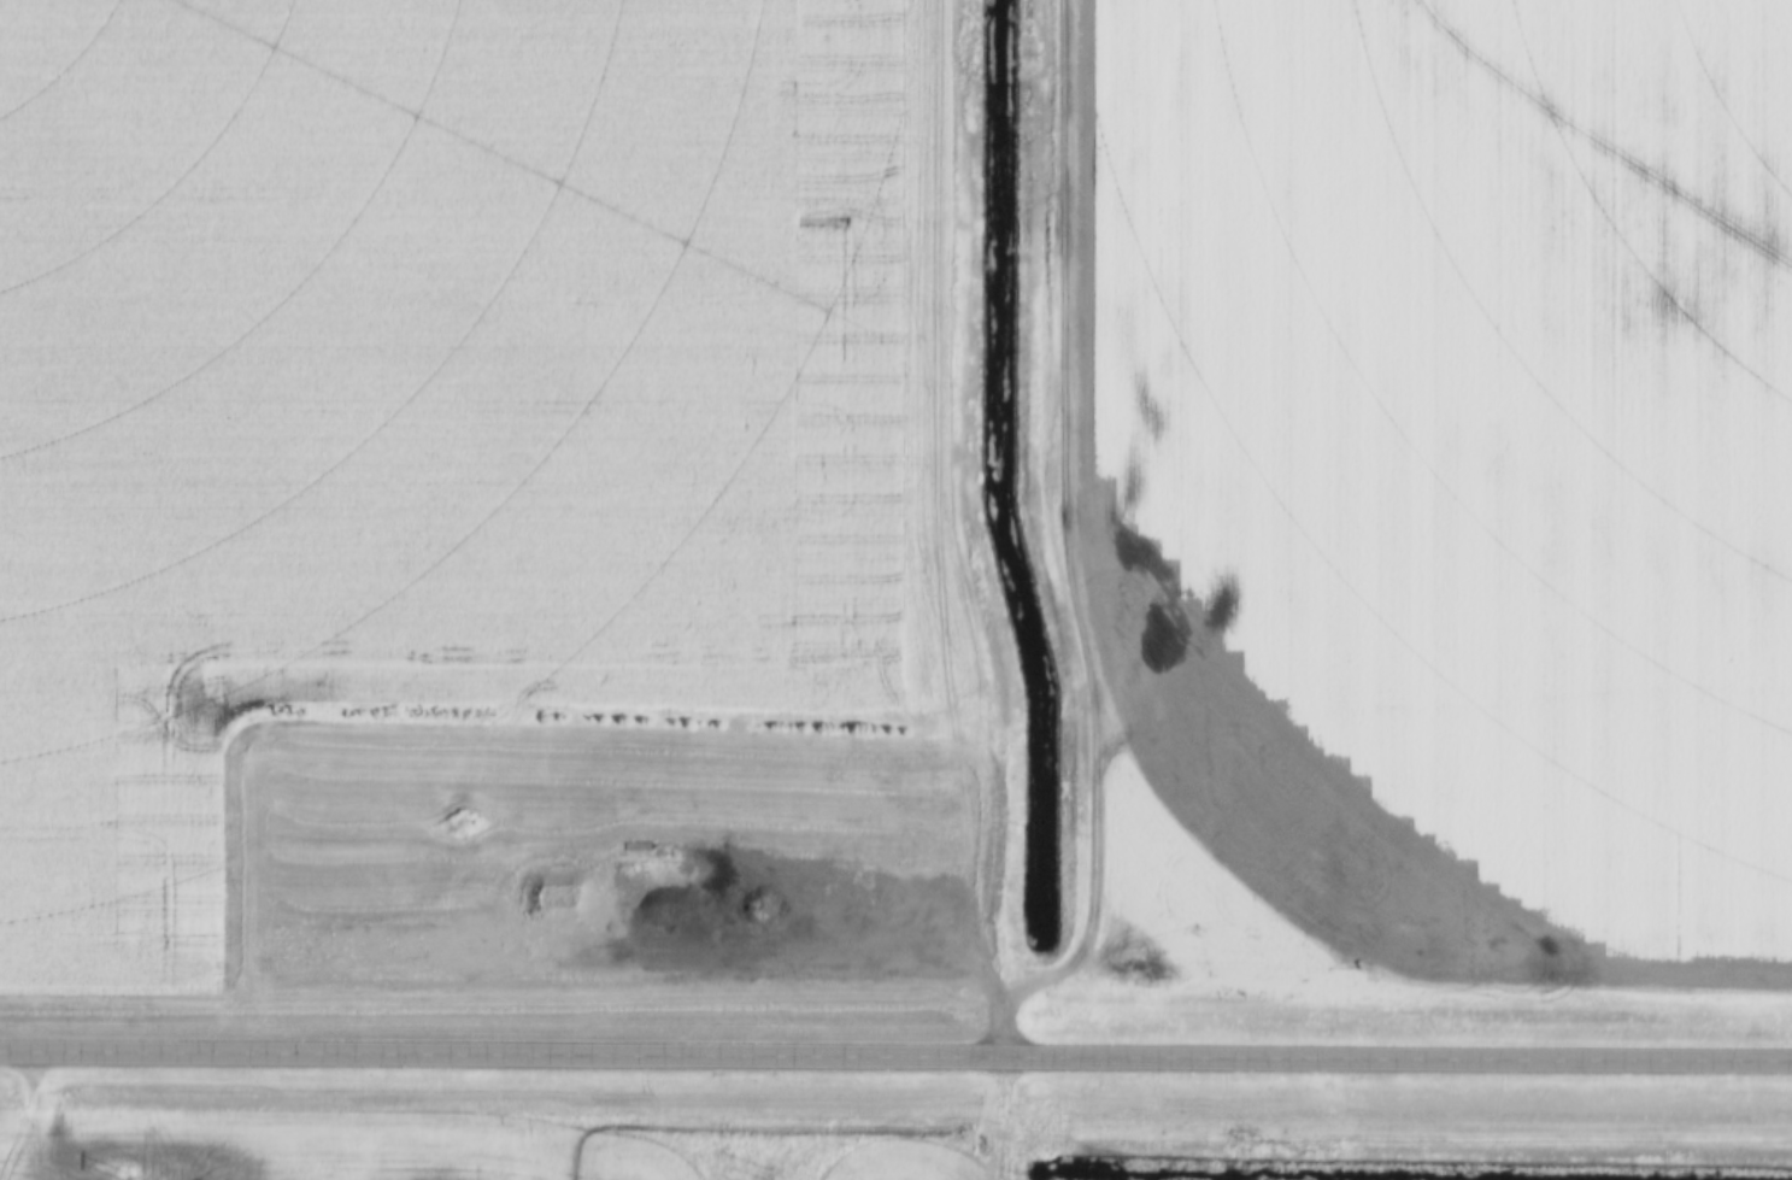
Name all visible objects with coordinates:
road: (895, 1059)
power tower: (114, 1173)

